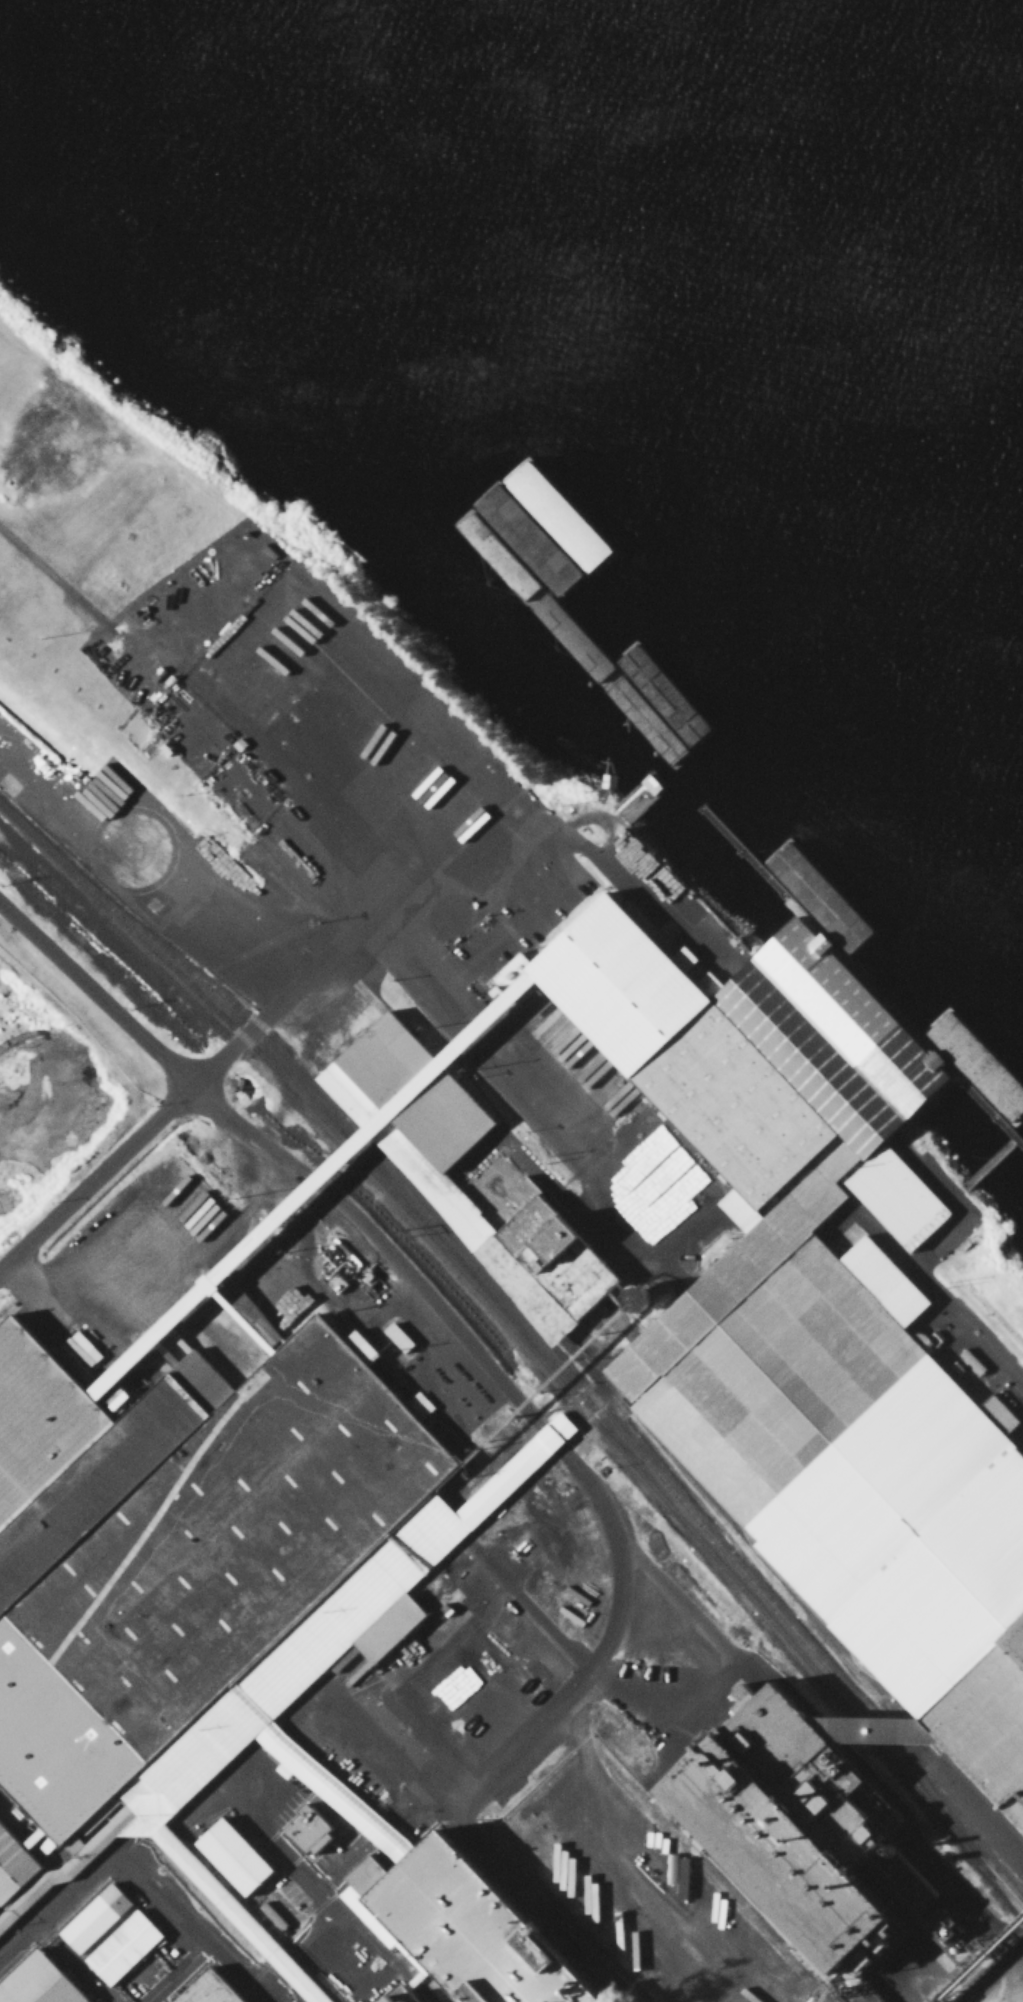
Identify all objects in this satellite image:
river: (813, 195)
building: (208, 823)
railway: (48, 855)
building: (440, 1125)
building: (738, 1171)
road: (96, 1176)
building: (113, 1211)
building: (399, 1339)
building: (668, 1345)
railway: (559, 1360)
railway: (569, 1398)
building: (111, 1433)
building: (997, 1445)
building: (267, 1716)
building: (745, 1771)
building: (312, 1833)
building: (237, 1858)
road: (140, 1876)
building: (441, 1919)
building: (97, 1921)
building: (125, 1950)
road: (998, 1977)
building: (40, 1983)
building: (213, 1990)

